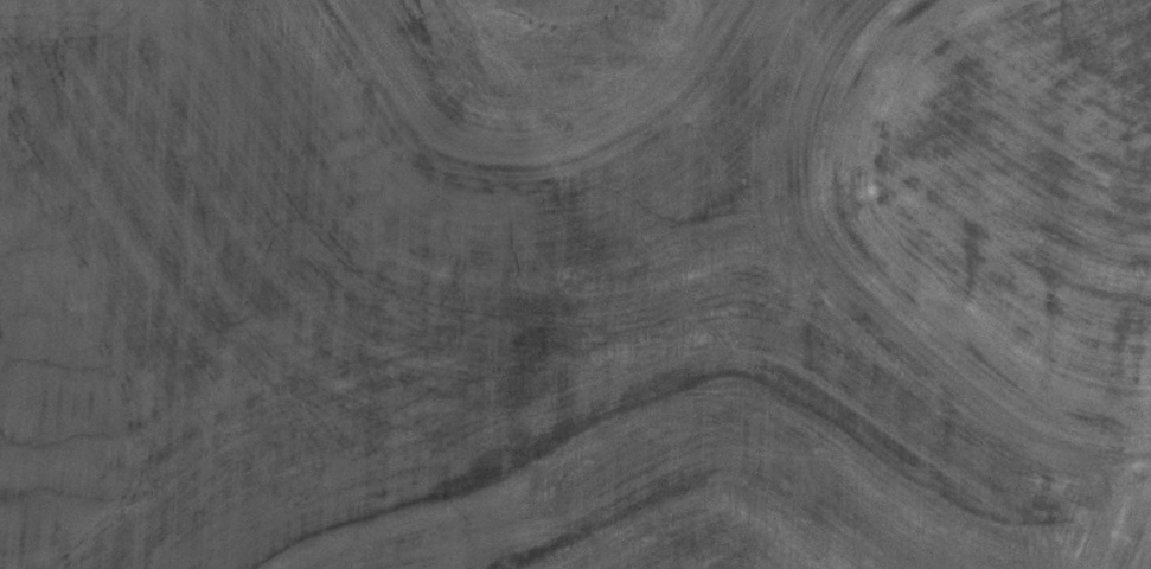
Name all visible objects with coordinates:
crop: (575, 284)

